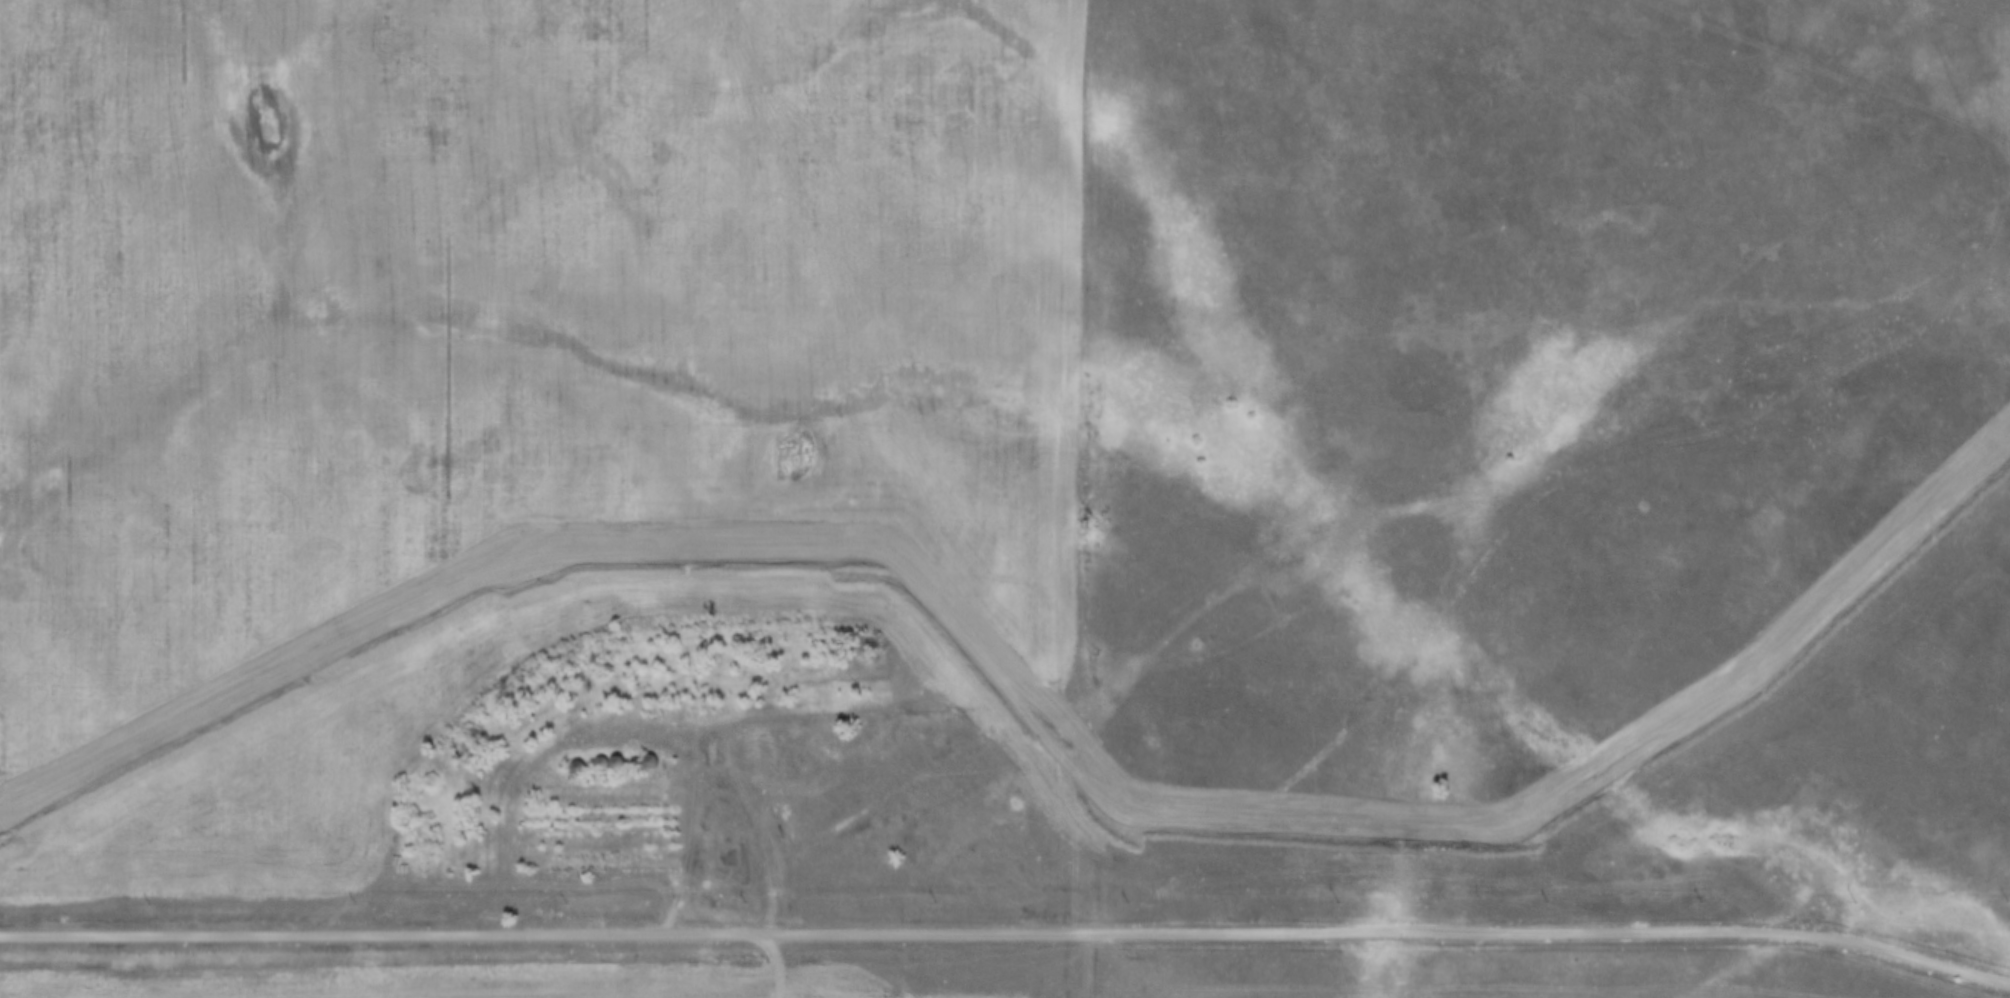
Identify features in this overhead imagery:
road: (563, 739)
road: (1008, 935)

